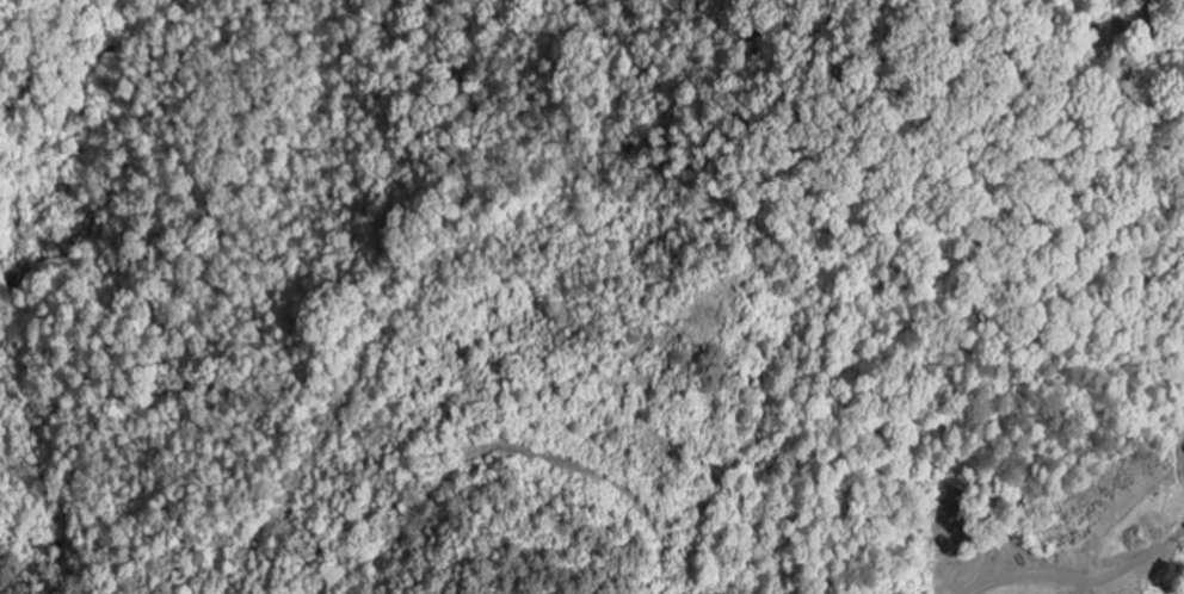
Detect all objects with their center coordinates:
road: (1182, 447)

